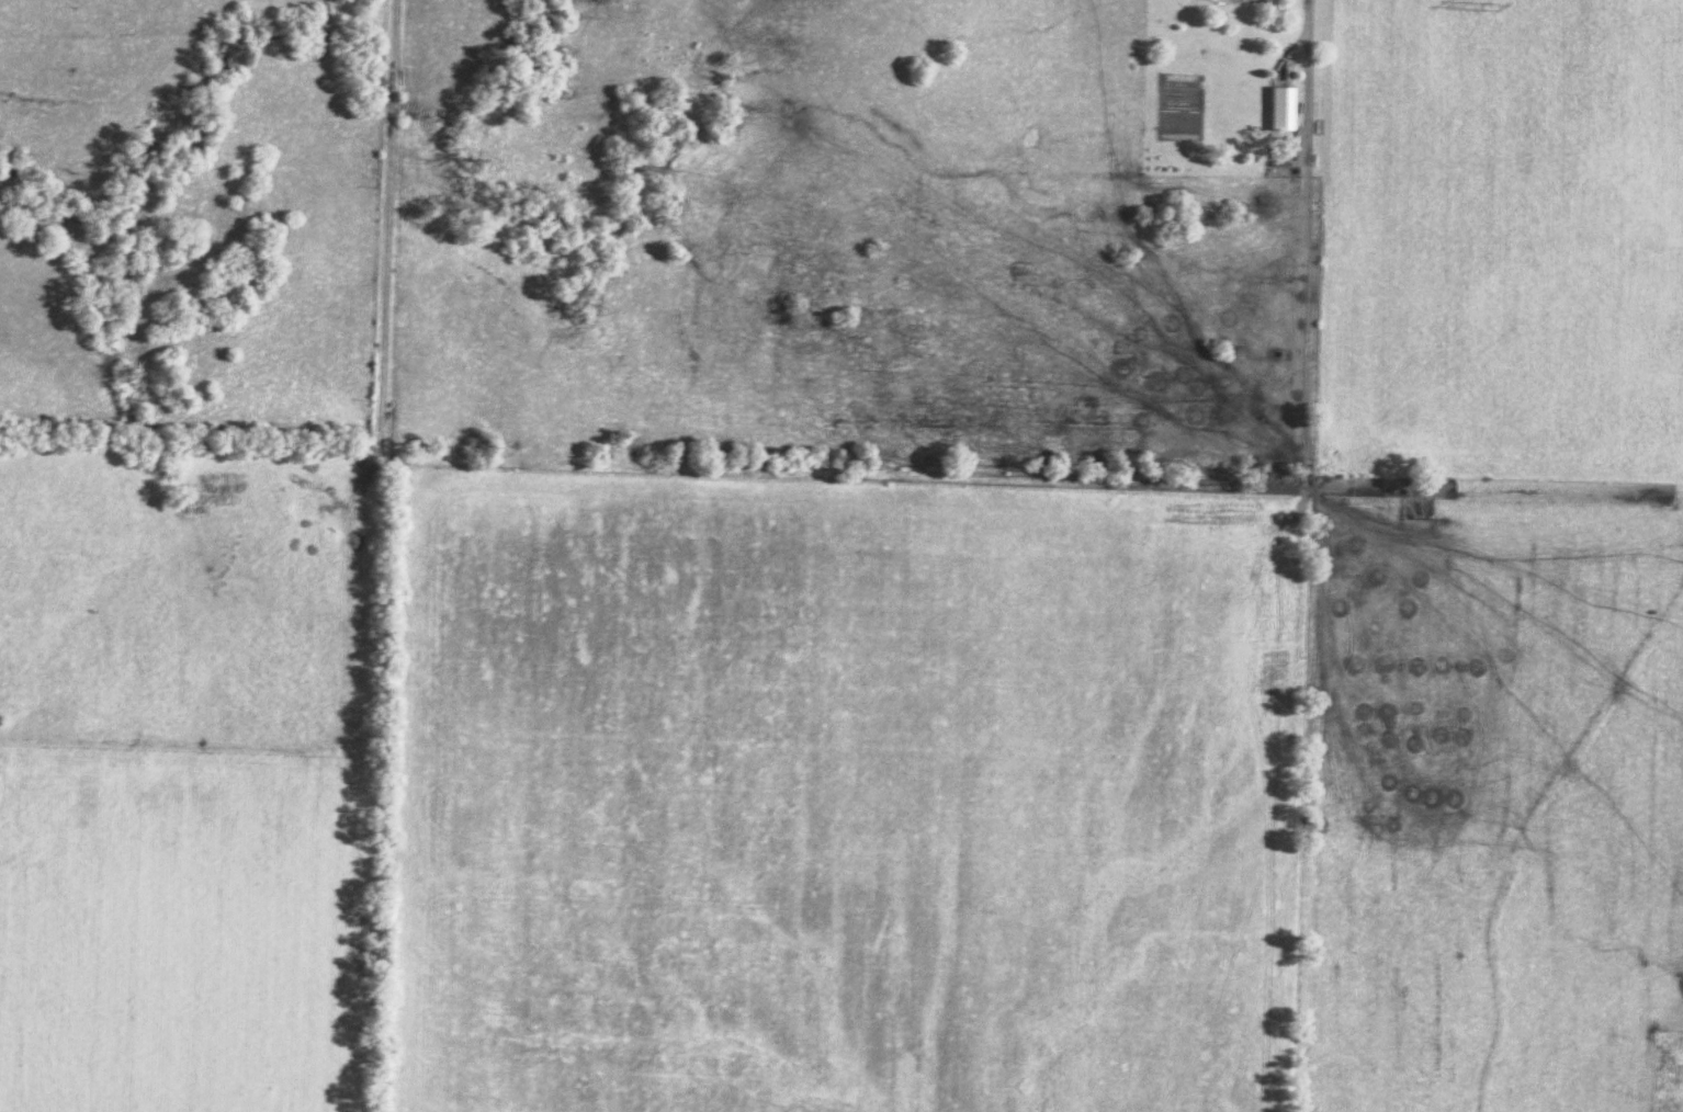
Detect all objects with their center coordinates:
power tower: (1479, 3)
building: (1281, 109)

